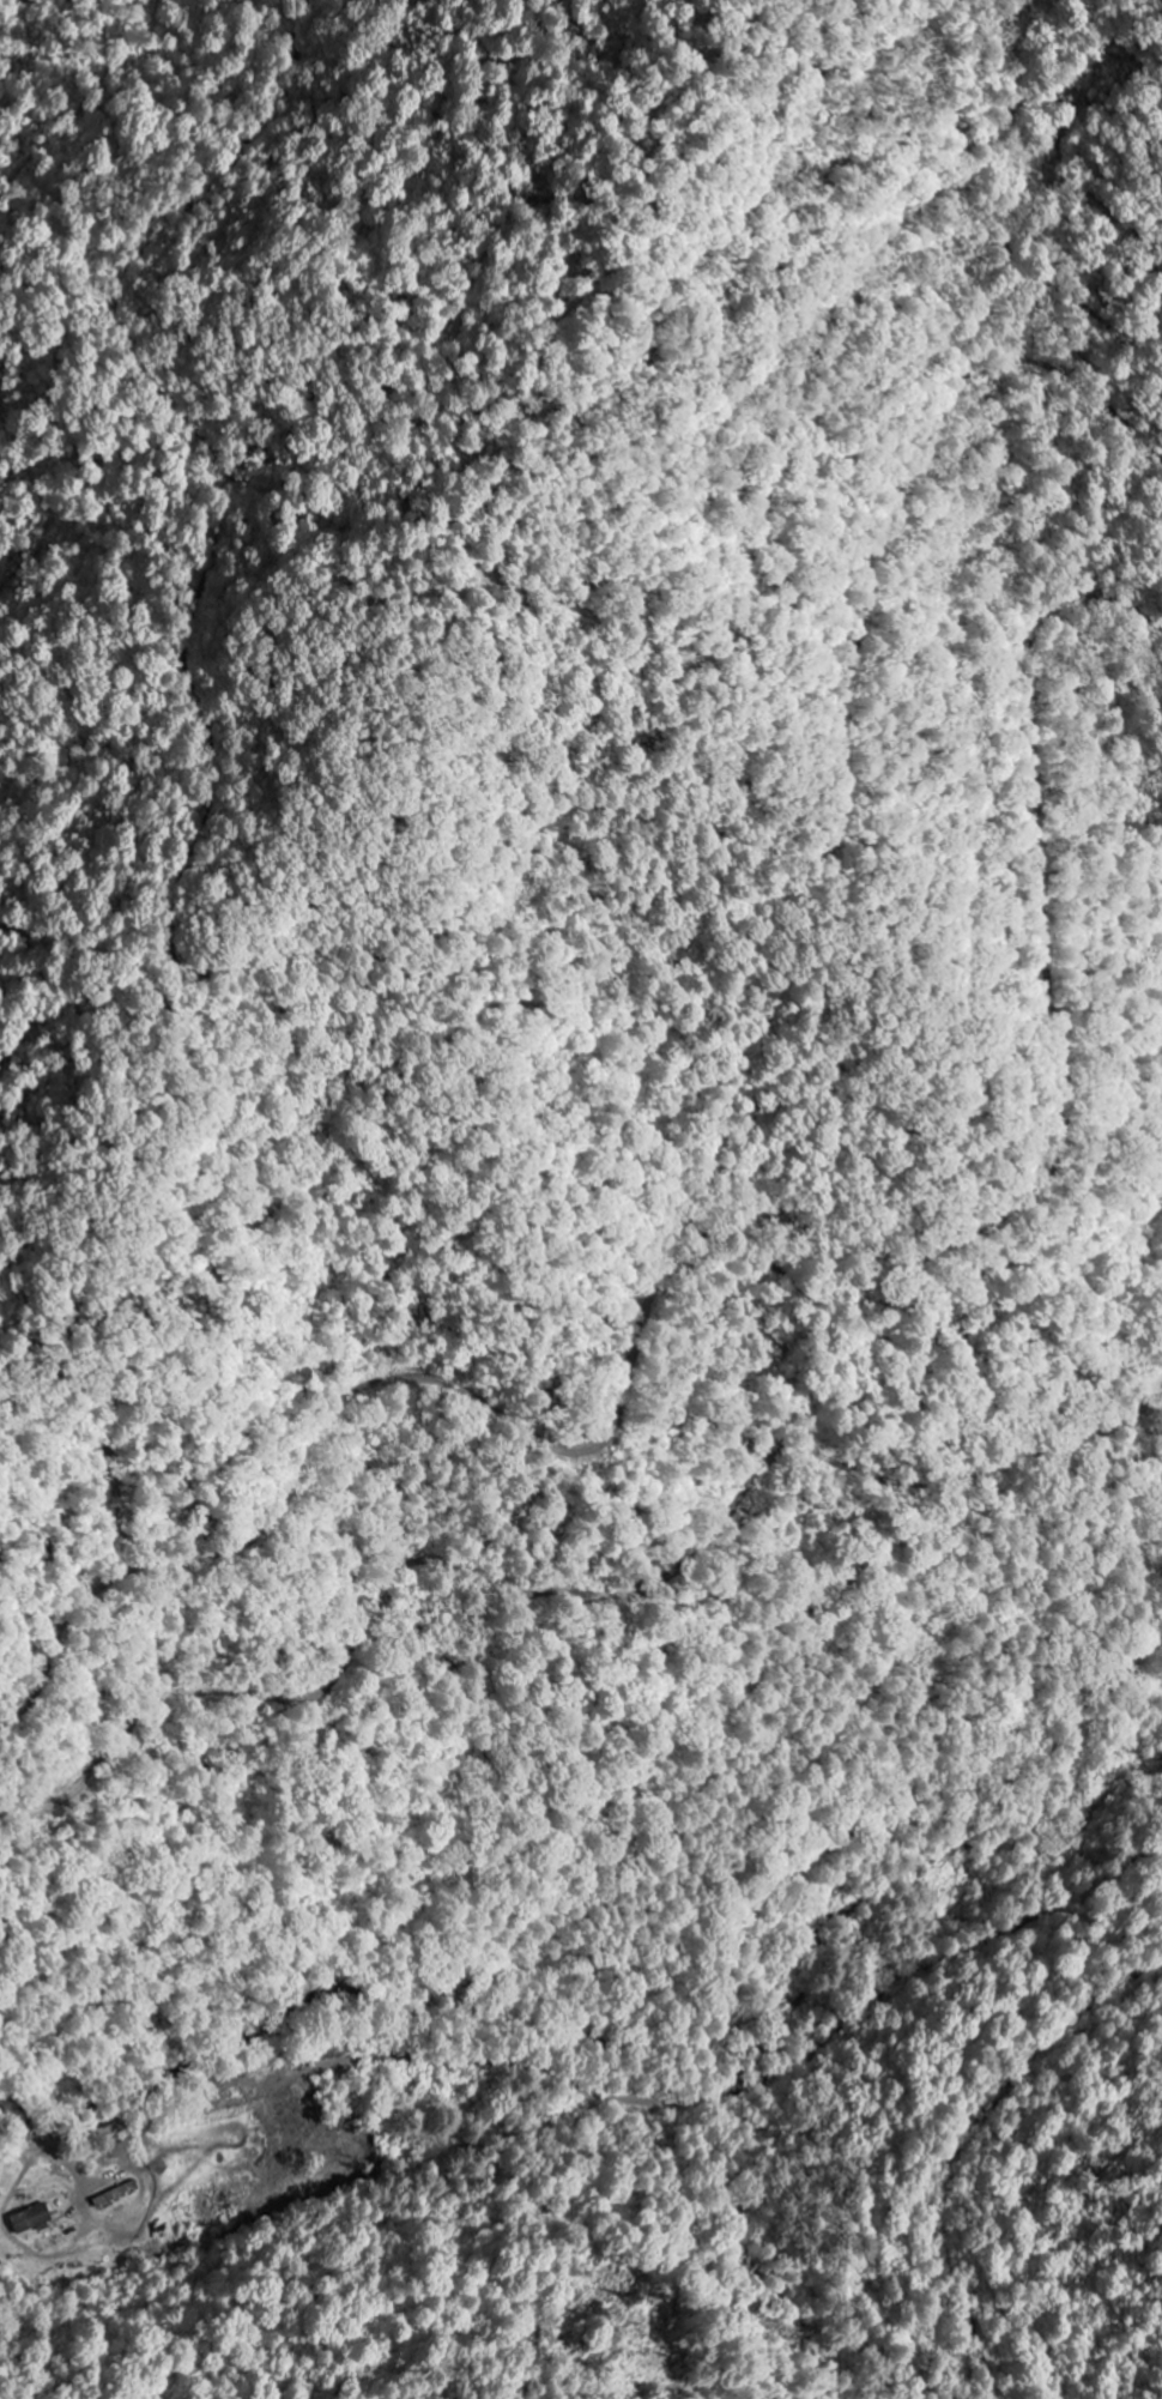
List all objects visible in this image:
building: (115, 2194)
building: (29, 2219)

